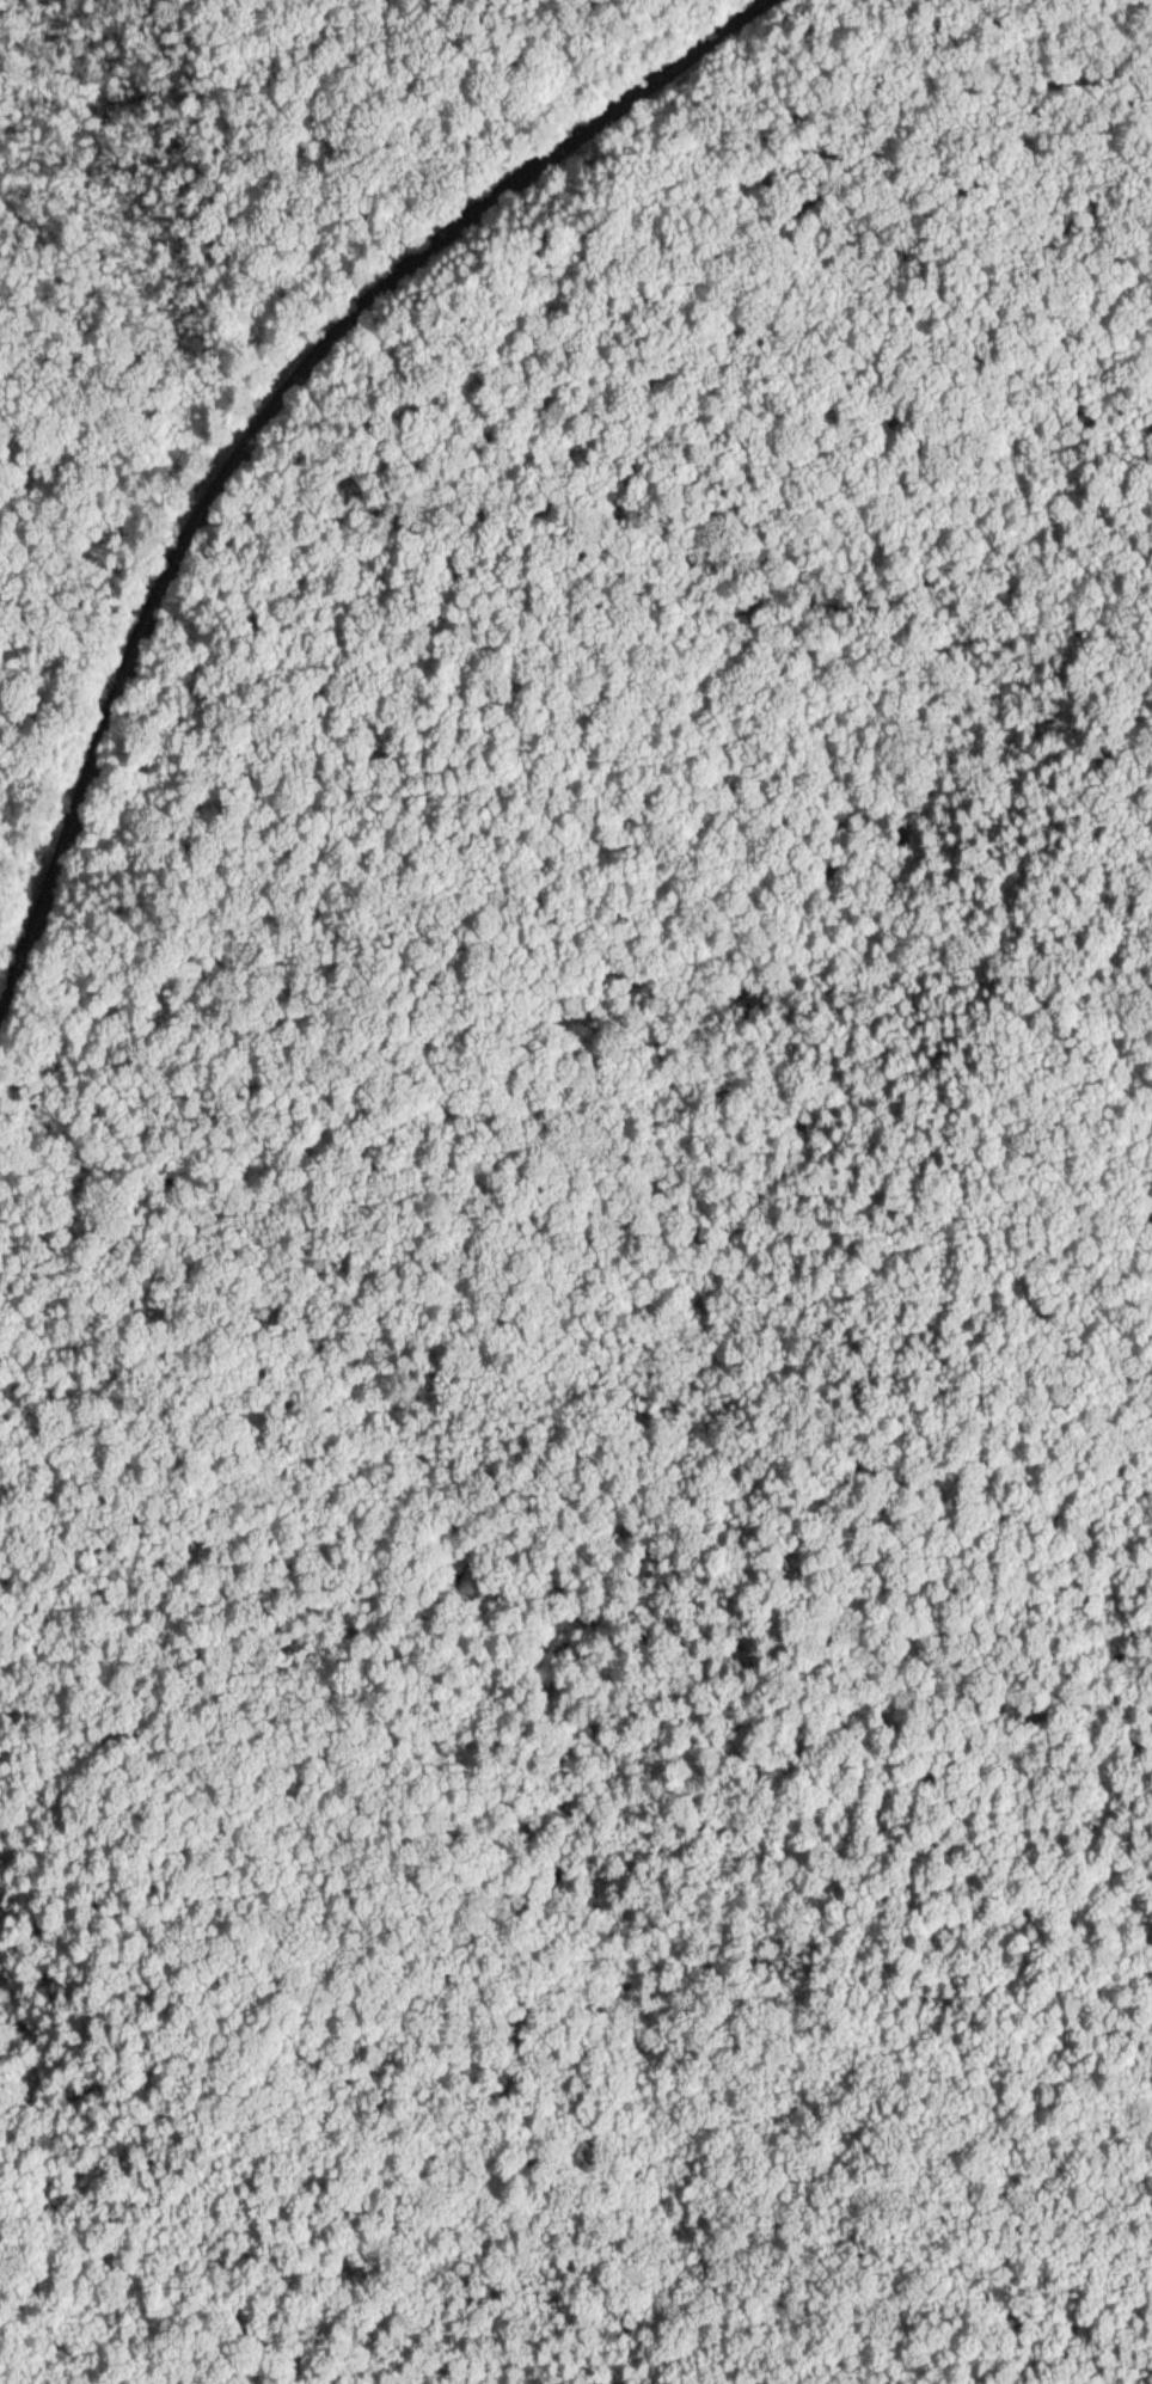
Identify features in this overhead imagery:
road: (265, 418)
road: (707, 2121)
road: (247, 2333)

